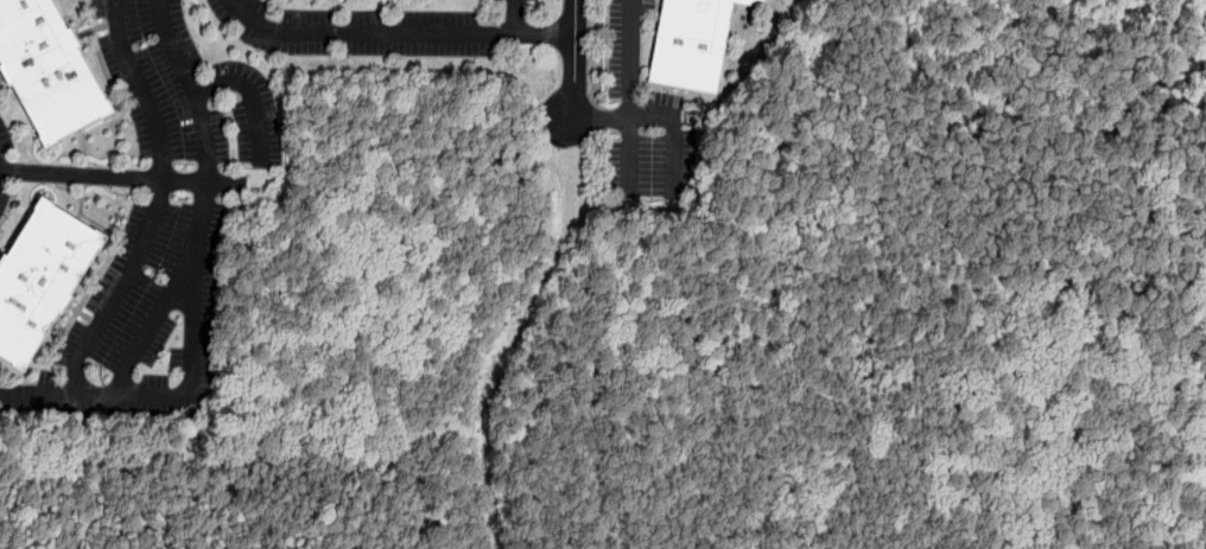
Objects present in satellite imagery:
building: (342, 0)
parking lot: (358, 31)
road: (385, 31)
road: (546, 33)
building: (694, 43)
road: (577, 58)
building: (49, 69)
parking lot: (186, 90)
road: (252, 96)
road: (630, 97)
road: (658, 115)
parking lot: (646, 121)
parking lot: (4, 134)
road: (122, 174)
parking lot: (4, 200)
road: (157, 200)
building: (40, 277)
road: (189, 286)
parking lot: (140, 324)
road: (148, 327)

